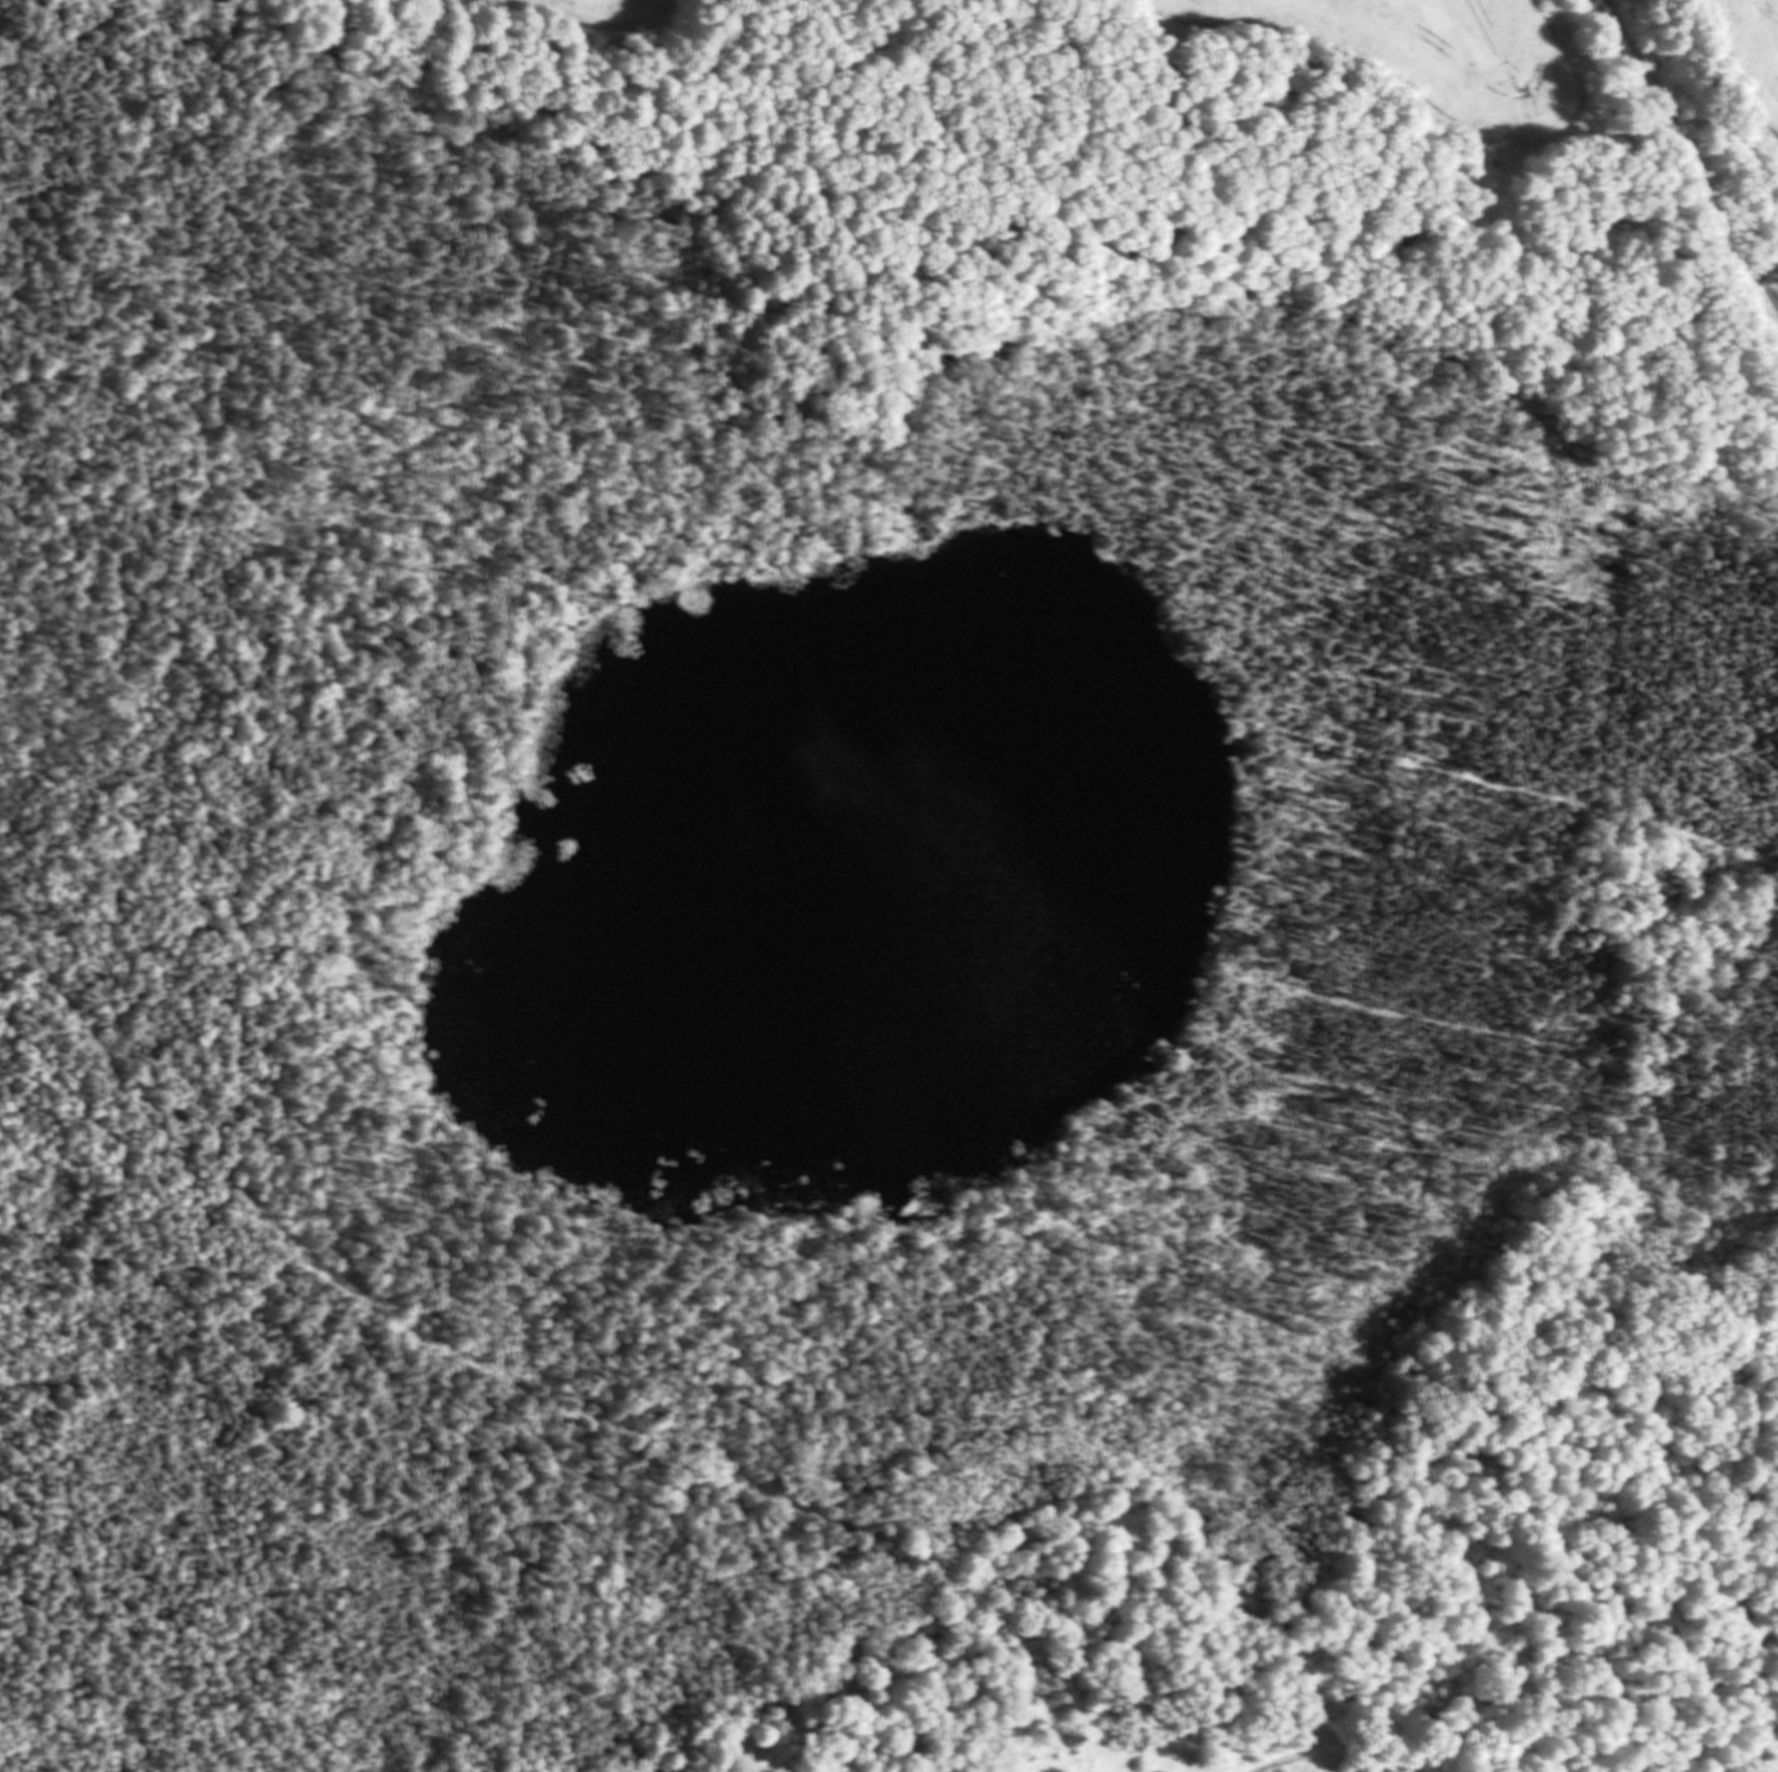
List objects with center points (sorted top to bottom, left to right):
road: (1691, 159)

